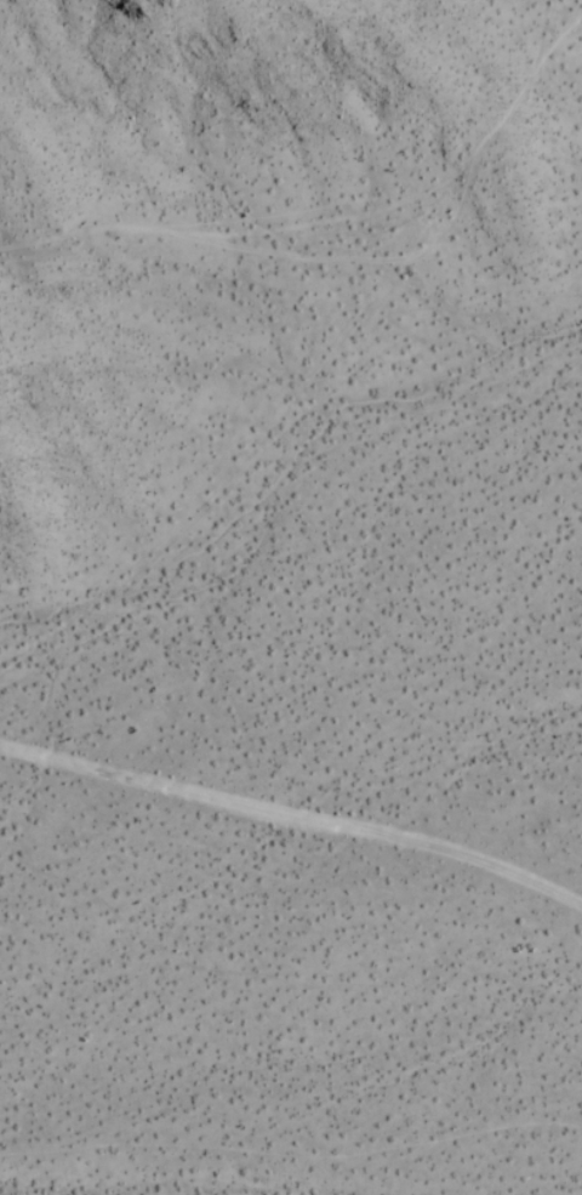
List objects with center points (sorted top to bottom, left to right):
road: (292, 812)

